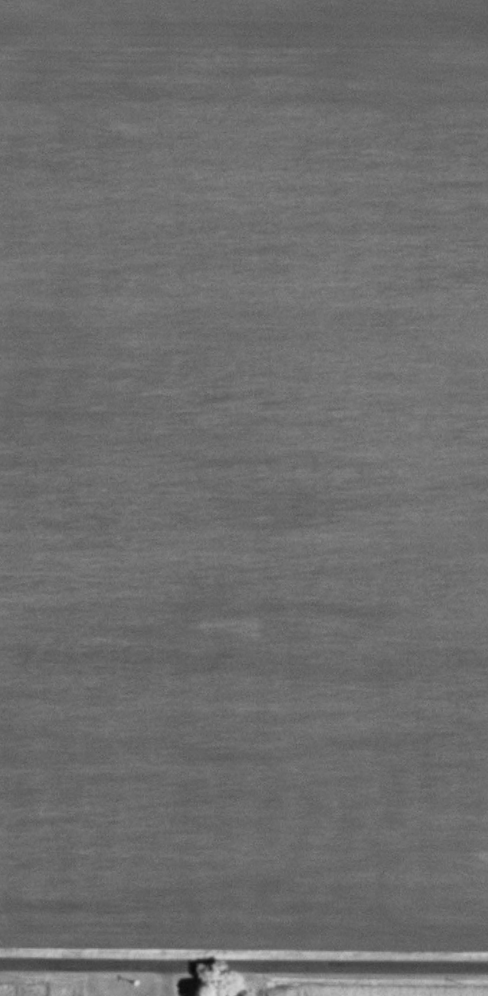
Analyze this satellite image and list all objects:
road: (244, 960)

